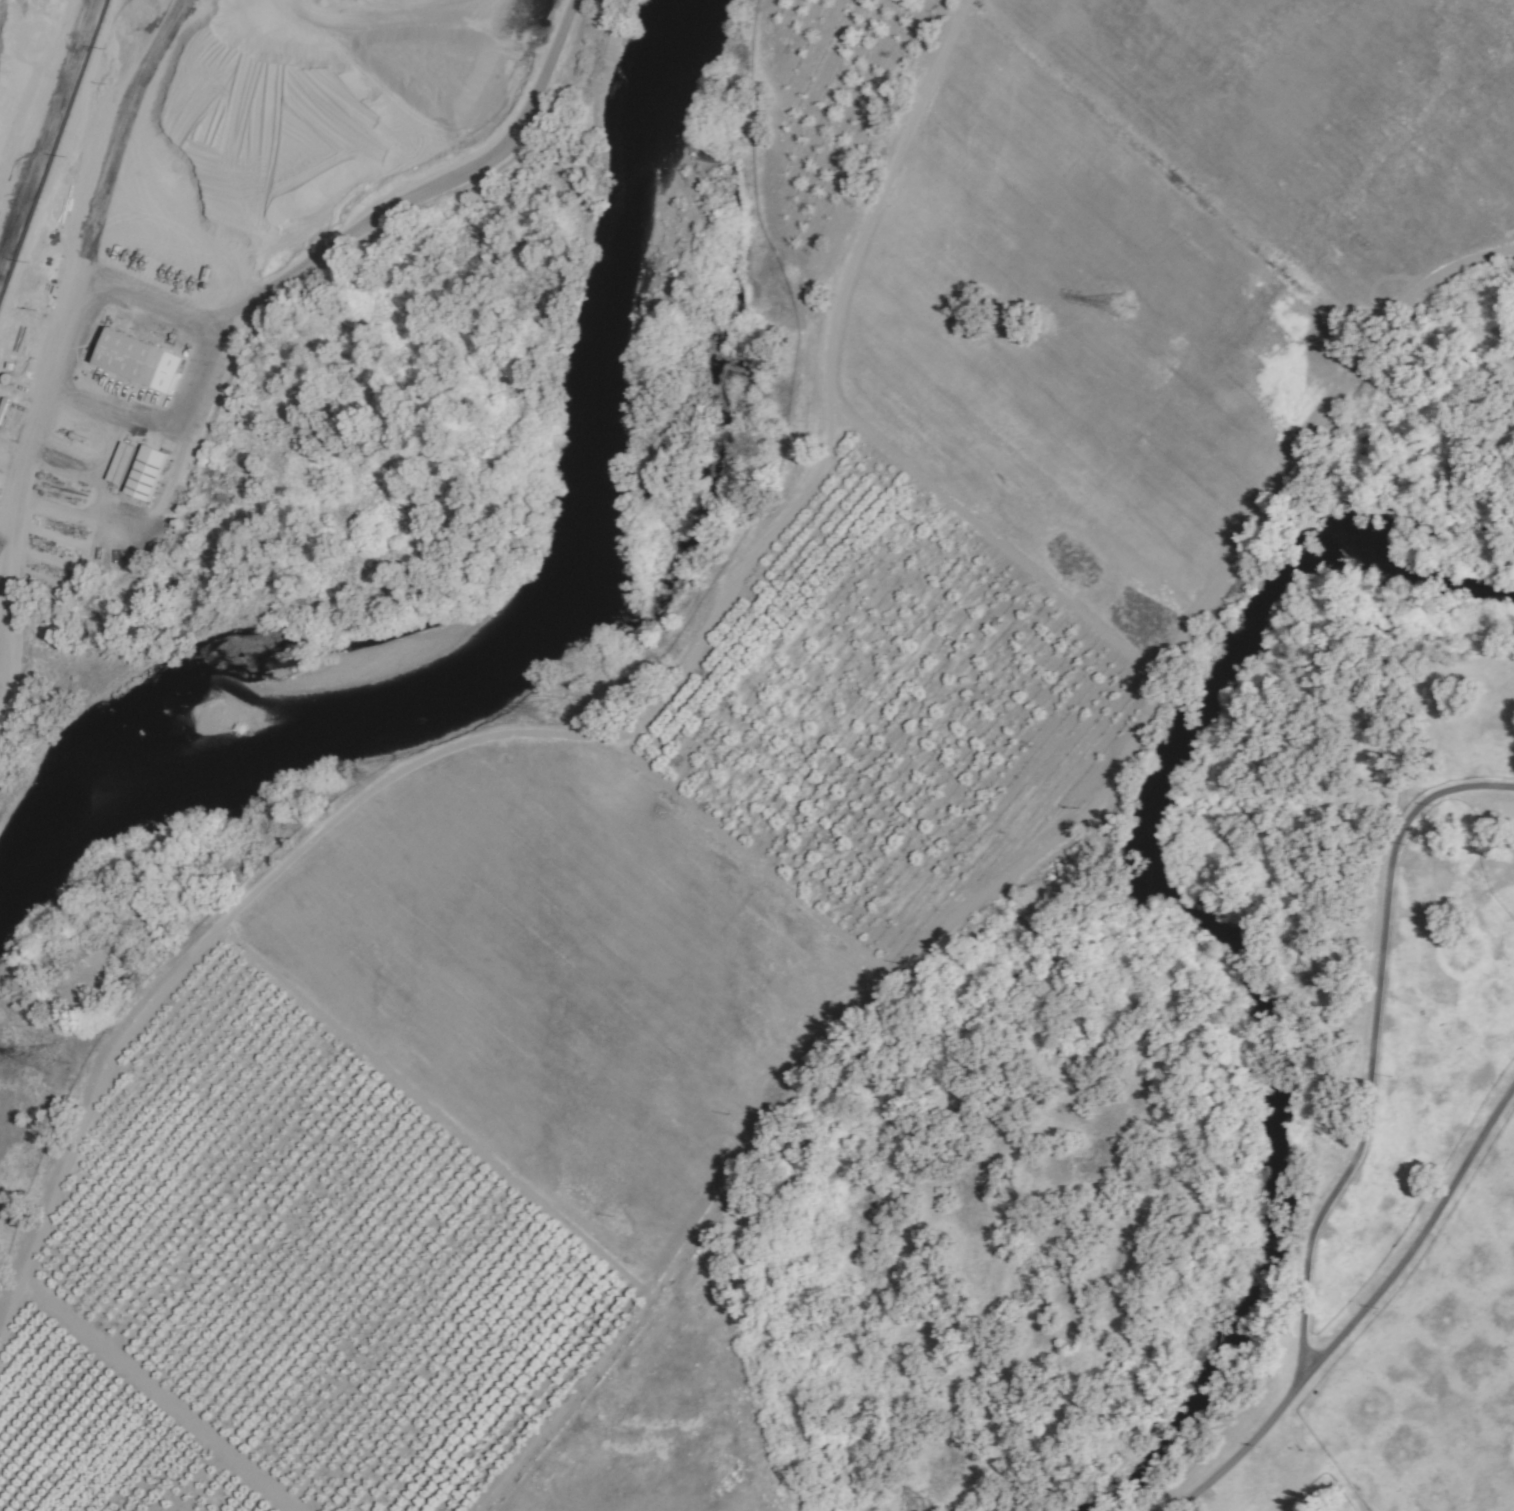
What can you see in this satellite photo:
road: (425, 190)
quarry: (216, 249)
crop: (1169, 263)
power tower: (1123, 307)
building: (145, 360)
building: (125, 464)
building: (150, 473)
river: (535, 618)
power tower: (548, 711)
river: (1211, 940)
power tower: (54, 1061)
crop: (582, 1067)
road: (1360, 1135)
road: (1415, 1241)
crop: (1425, 1344)

